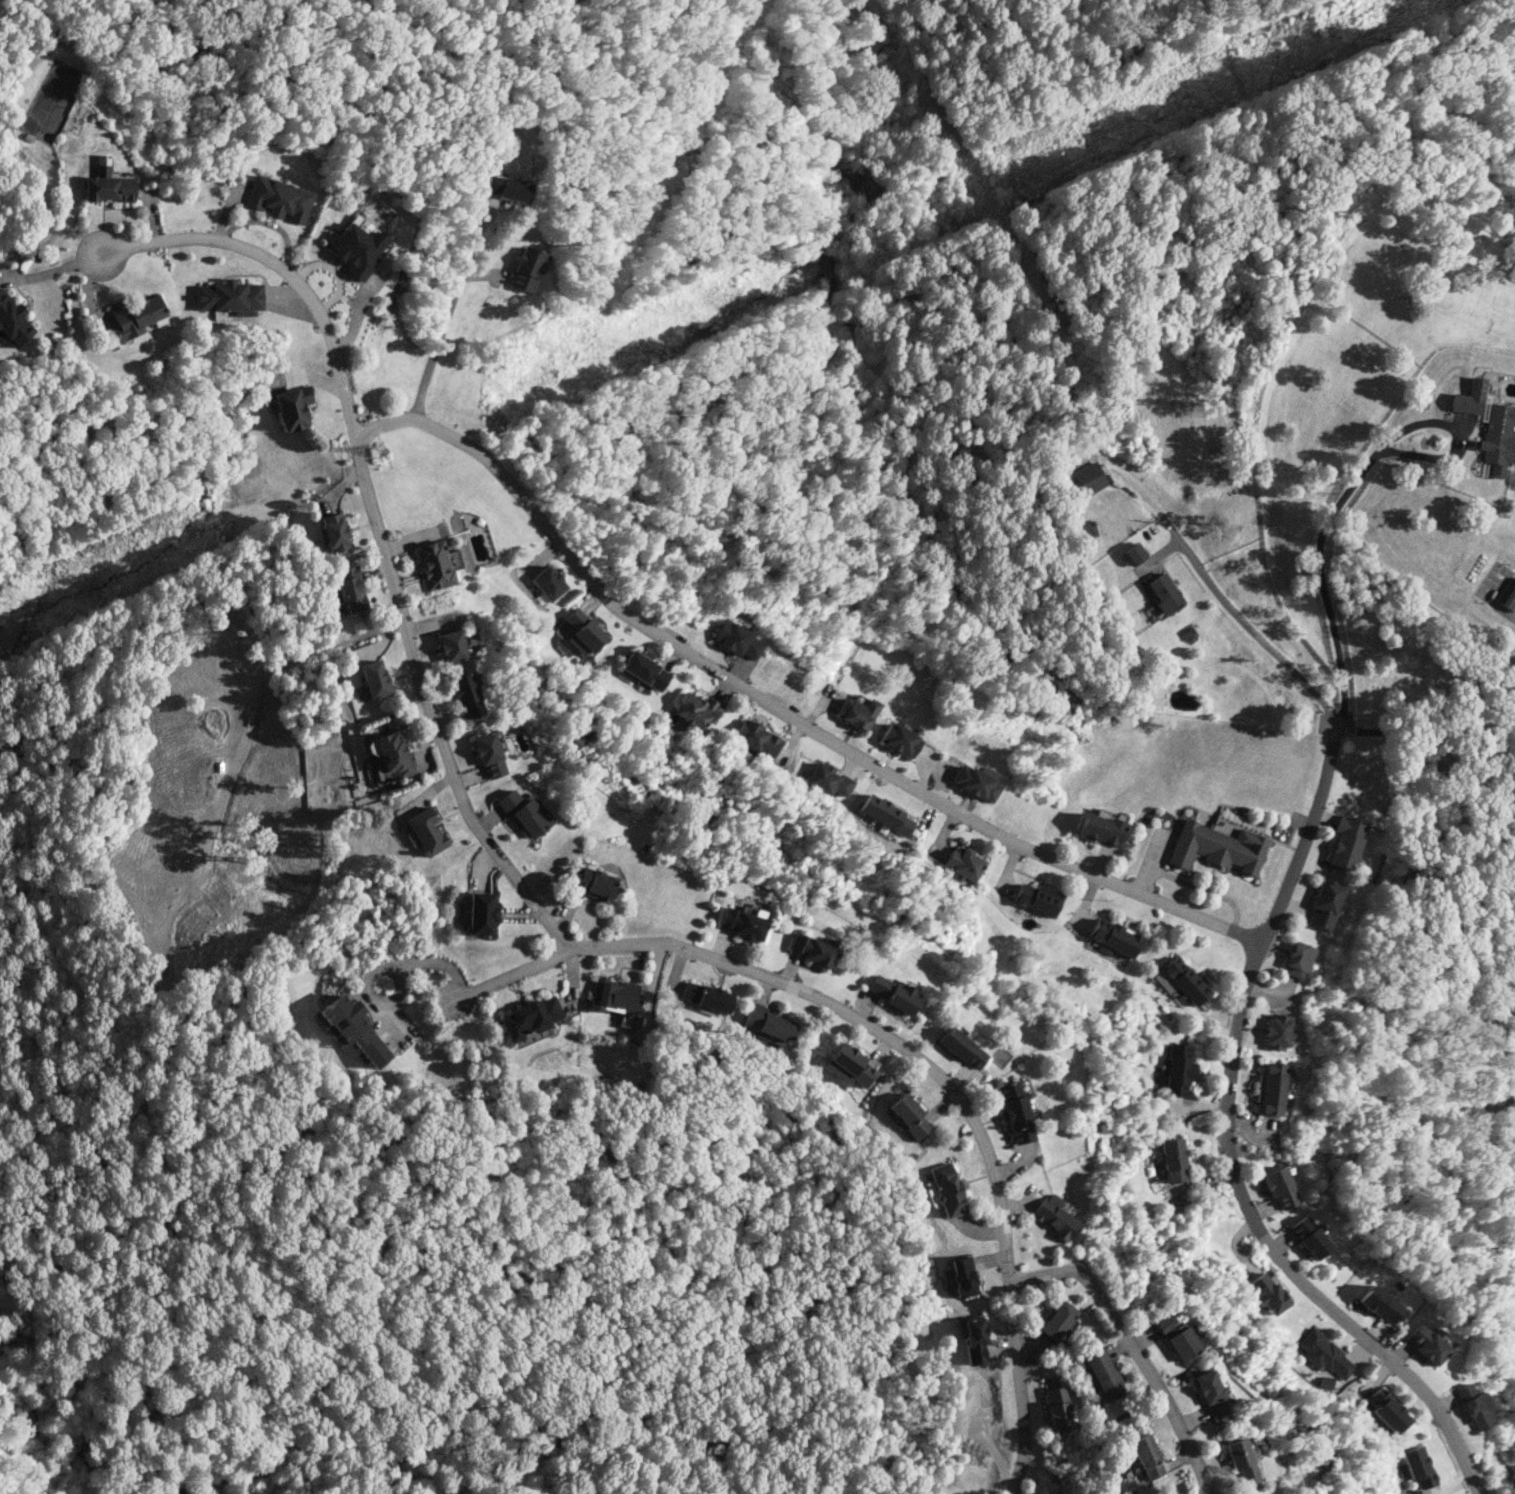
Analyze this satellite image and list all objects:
building: (107, 183)
building: (507, 187)
building: (279, 199)
building: (356, 245)
road: (276, 268)
building: (525, 269)
building: (228, 297)
building: (135, 316)
building: (12, 321)
road: (435, 346)
building: (1469, 397)
building: (291, 407)
building: (1497, 437)
building: (1088, 479)
building: (332, 532)
building: (1133, 554)
building: (434, 564)
road: (1314, 575)
building: (547, 582)
building: (350, 588)
building: (1163, 594)
building: (1507, 595)
road: (400, 600)
road: (1245, 627)
building: (582, 632)
building: (738, 639)
building: (454, 645)
building: (642, 669)
building: (373, 678)
building: (464, 690)
building: (696, 709)
building: (856, 712)
building: (757, 739)
building: (899, 739)
building: (391, 754)
building: (488, 755)
building: (827, 780)
building: (974, 783)
building: (524, 813)
building: (886, 814)
building: (1100, 829)
building: (426, 831)
building: (1344, 841)
building: (1217, 847)
building: (963, 862)
building: (593, 883)
building: (1037, 898)
building: (1323, 903)
building: (478, 913)
building: (741, 923)
building: (1113, 938)
building: (811, 949)
building: (1296, 960)
road: (383, 972)
road: (506, 977)
building: (1184, 979)
building: (706, 996)
building: (615, 999)
building: (530, 1017)
building: (766, 1022)
building: (352, 1029)
building: (1275, 1031)
building: (961, 1047)
building: (848, 1066)
building: (1176, 1069)
building: (1270, 1088)
building: (1015, 1112)
building: (908, 1116)
road: (1229, 1144)
building: (1172, 1159)
building: (1280, 1187)
building: (946, 1189)
building: (1054, 1217)
building: (1308, 1237)
building: (962, 1276)
building: (1267, 1293)
building: (1380, 1303)
building: (1057, 1320)
building: (1176, 1337)
building: (973, 1339)
building: (1427, 1342)
road: (1132, 1348)
building: (1324, 1354)
building: (1102, 1375)
building: (1211, 1393)
building: (1057, 1407)
building: (1475, 1407)
building: (1388, 1410)
building: (1146, 1456)
building: (1240, 1459)
building: (1418, 1465)

